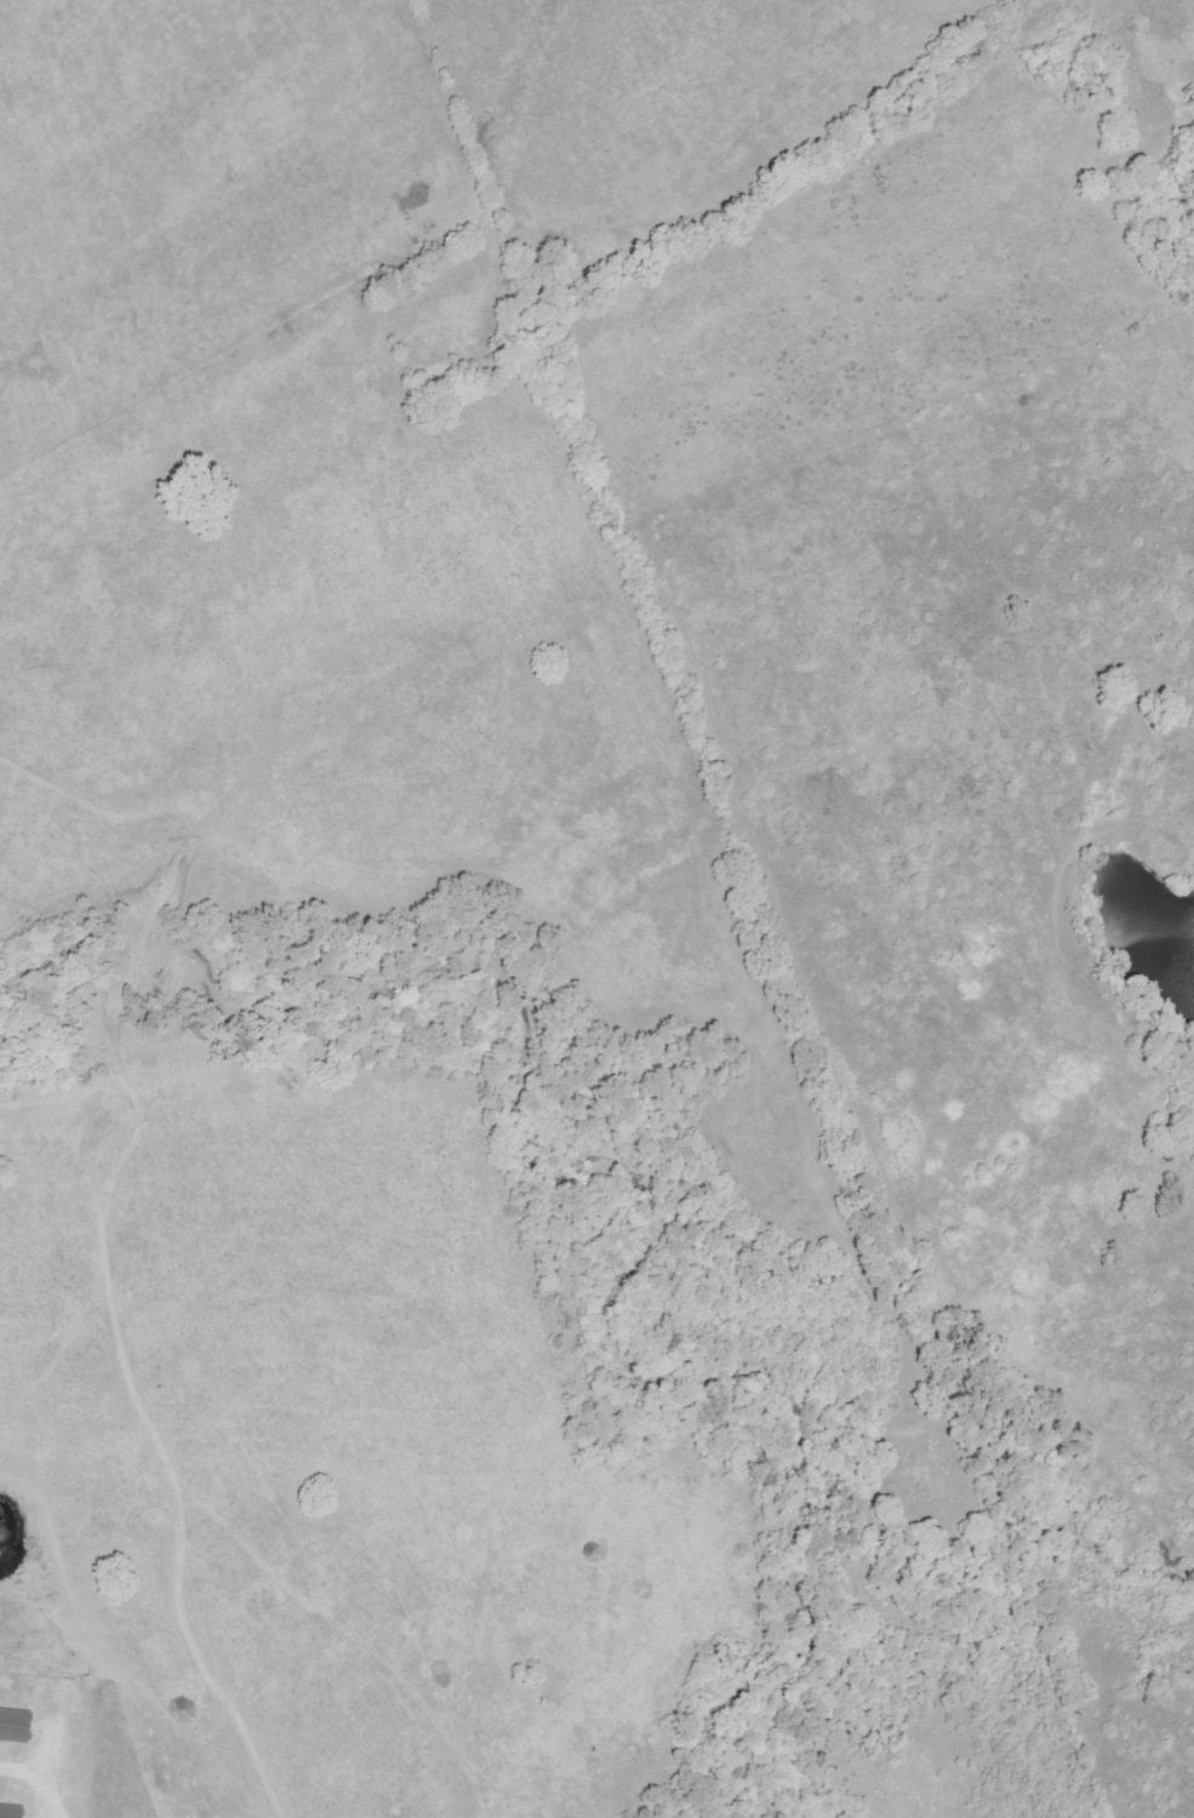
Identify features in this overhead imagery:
building: (13, 1720)
road: (35, 1784)
building: (10, 1808)

